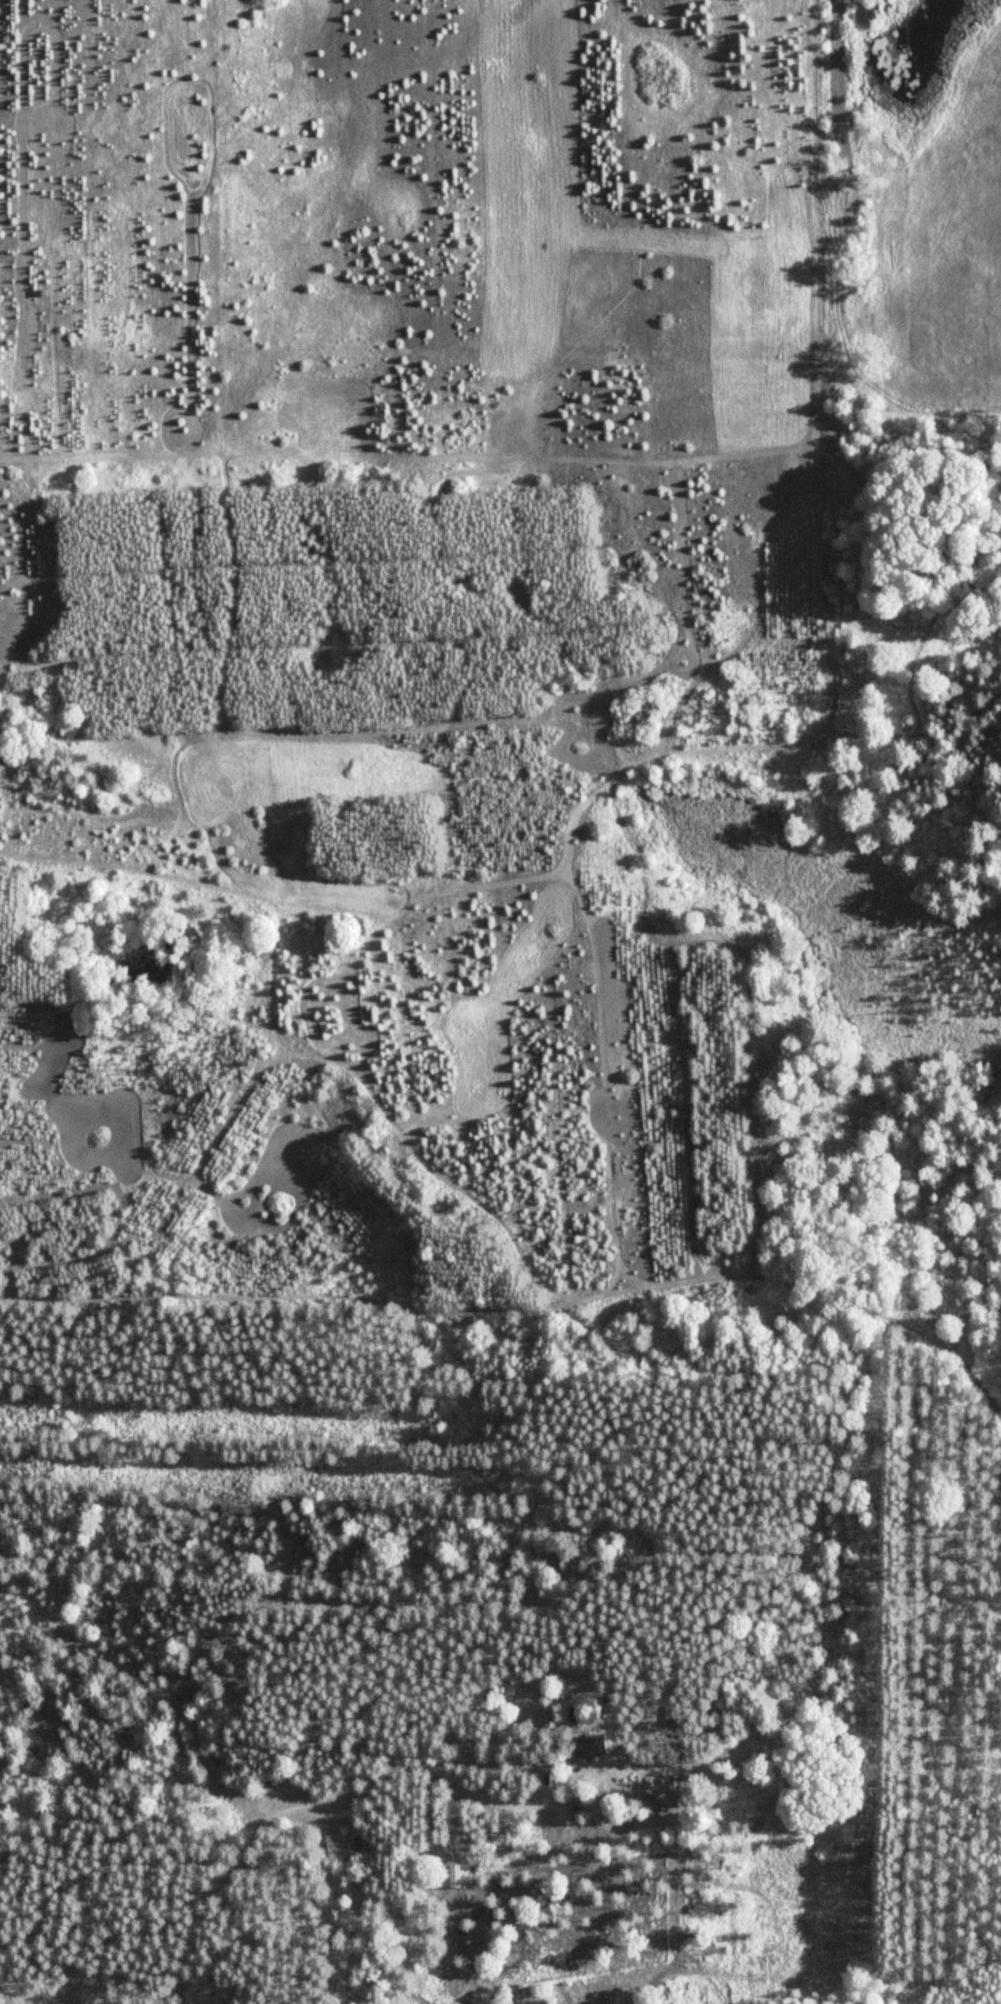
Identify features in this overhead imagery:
road: (522, 1303)
road: (0, 1643)
building: (590, 1745)
road: (285, 1812)
building: (307, 1822)
building: (360, 1841)
road: (14, 1992)

